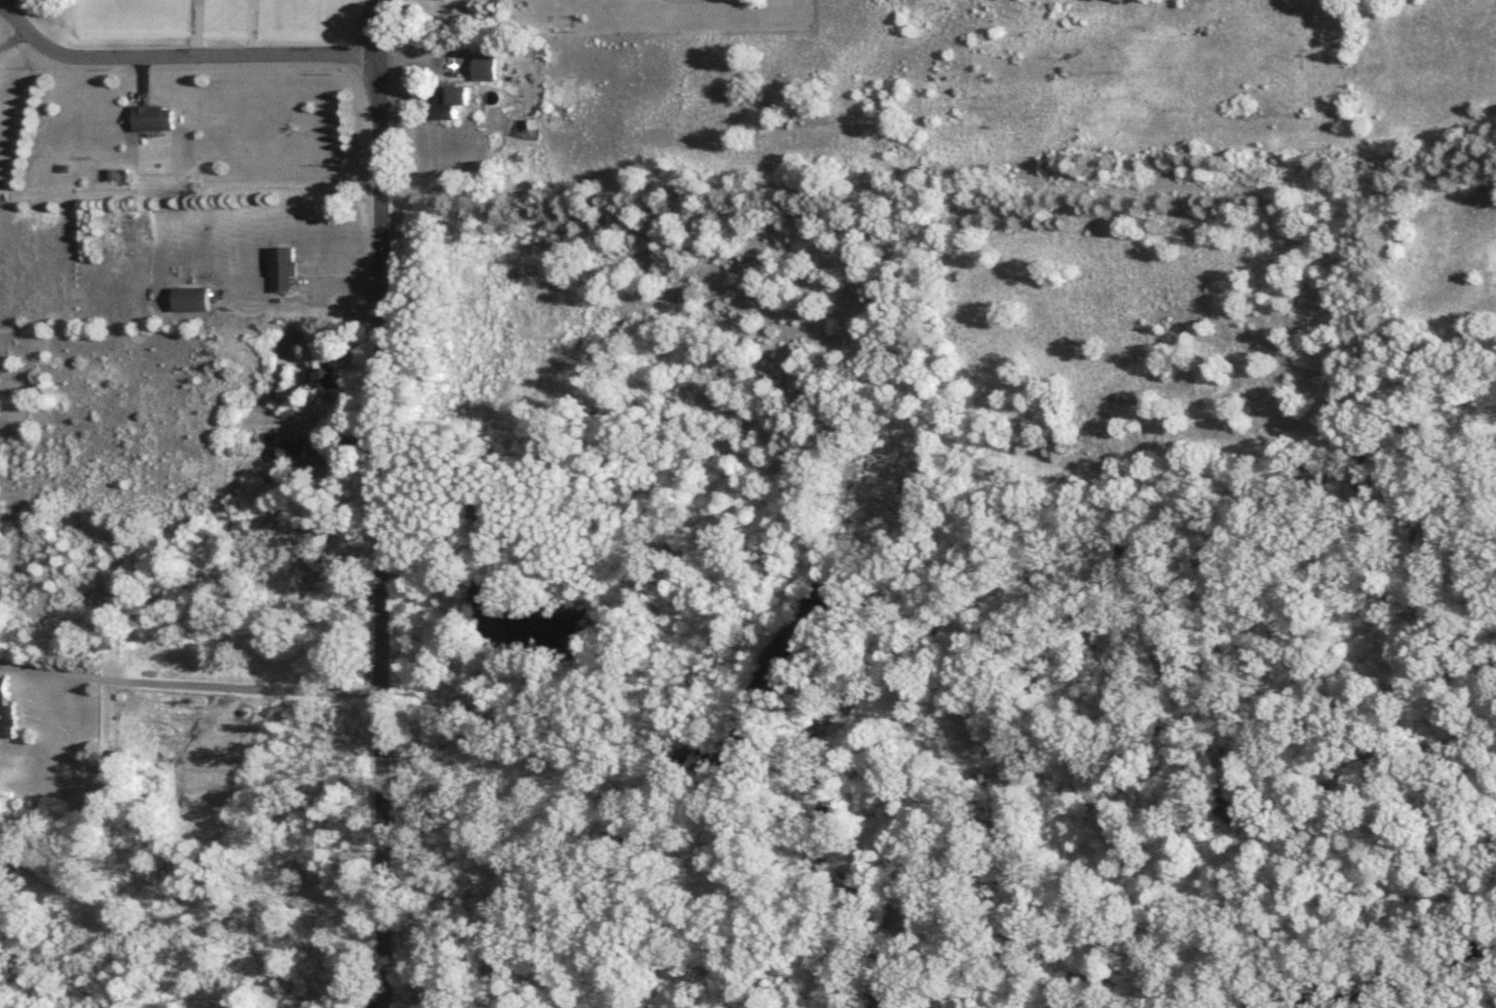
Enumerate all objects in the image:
building: (488, 21)
road: (14, 38)
road: (180, 59)
building: (485, 69)
building: (452, 102)
building: (154, 120)
road: (940, 200)
building: (284, 271)
building: (192, 301)
building: (327, 380)
building: (295, 456)
road: (381, 504)
parking lot: (477, 515)
road: (438, 540)
road: (206, 682)
building: (8, 719)
road: (604, 742)
road: (944, 927)
road: (1326, 956)
river: (1363, 973)
parking lot: (378, 988)
road: (400, 998)
road: (475, 1001)

